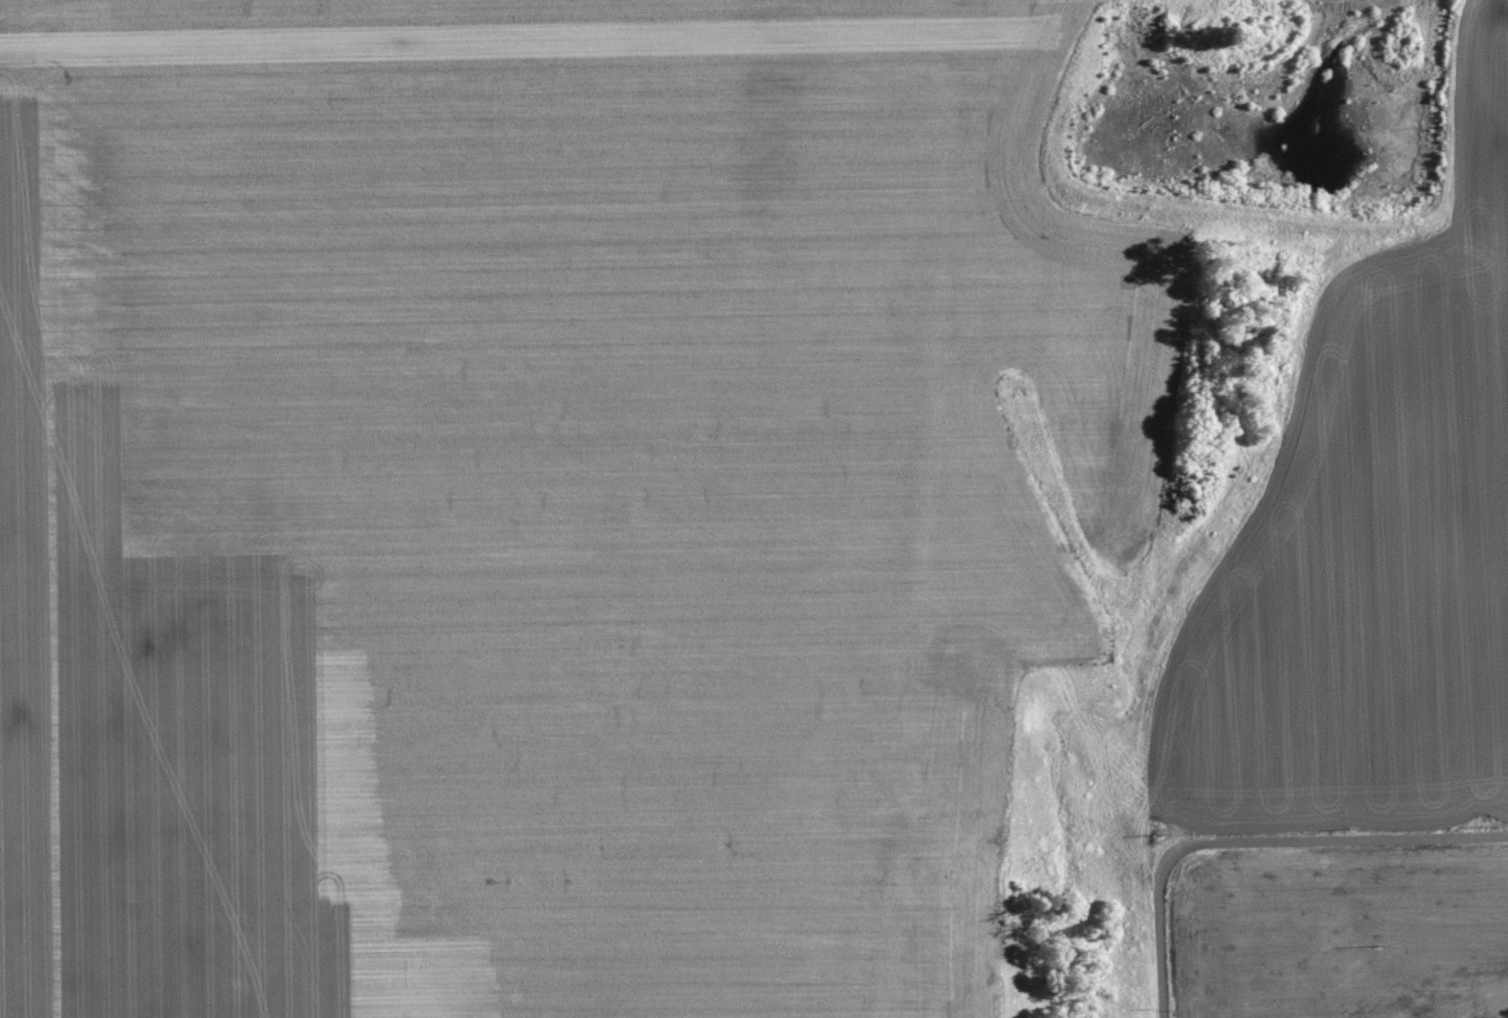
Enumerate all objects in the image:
road: (1251, 838)
road: (853, 912)

